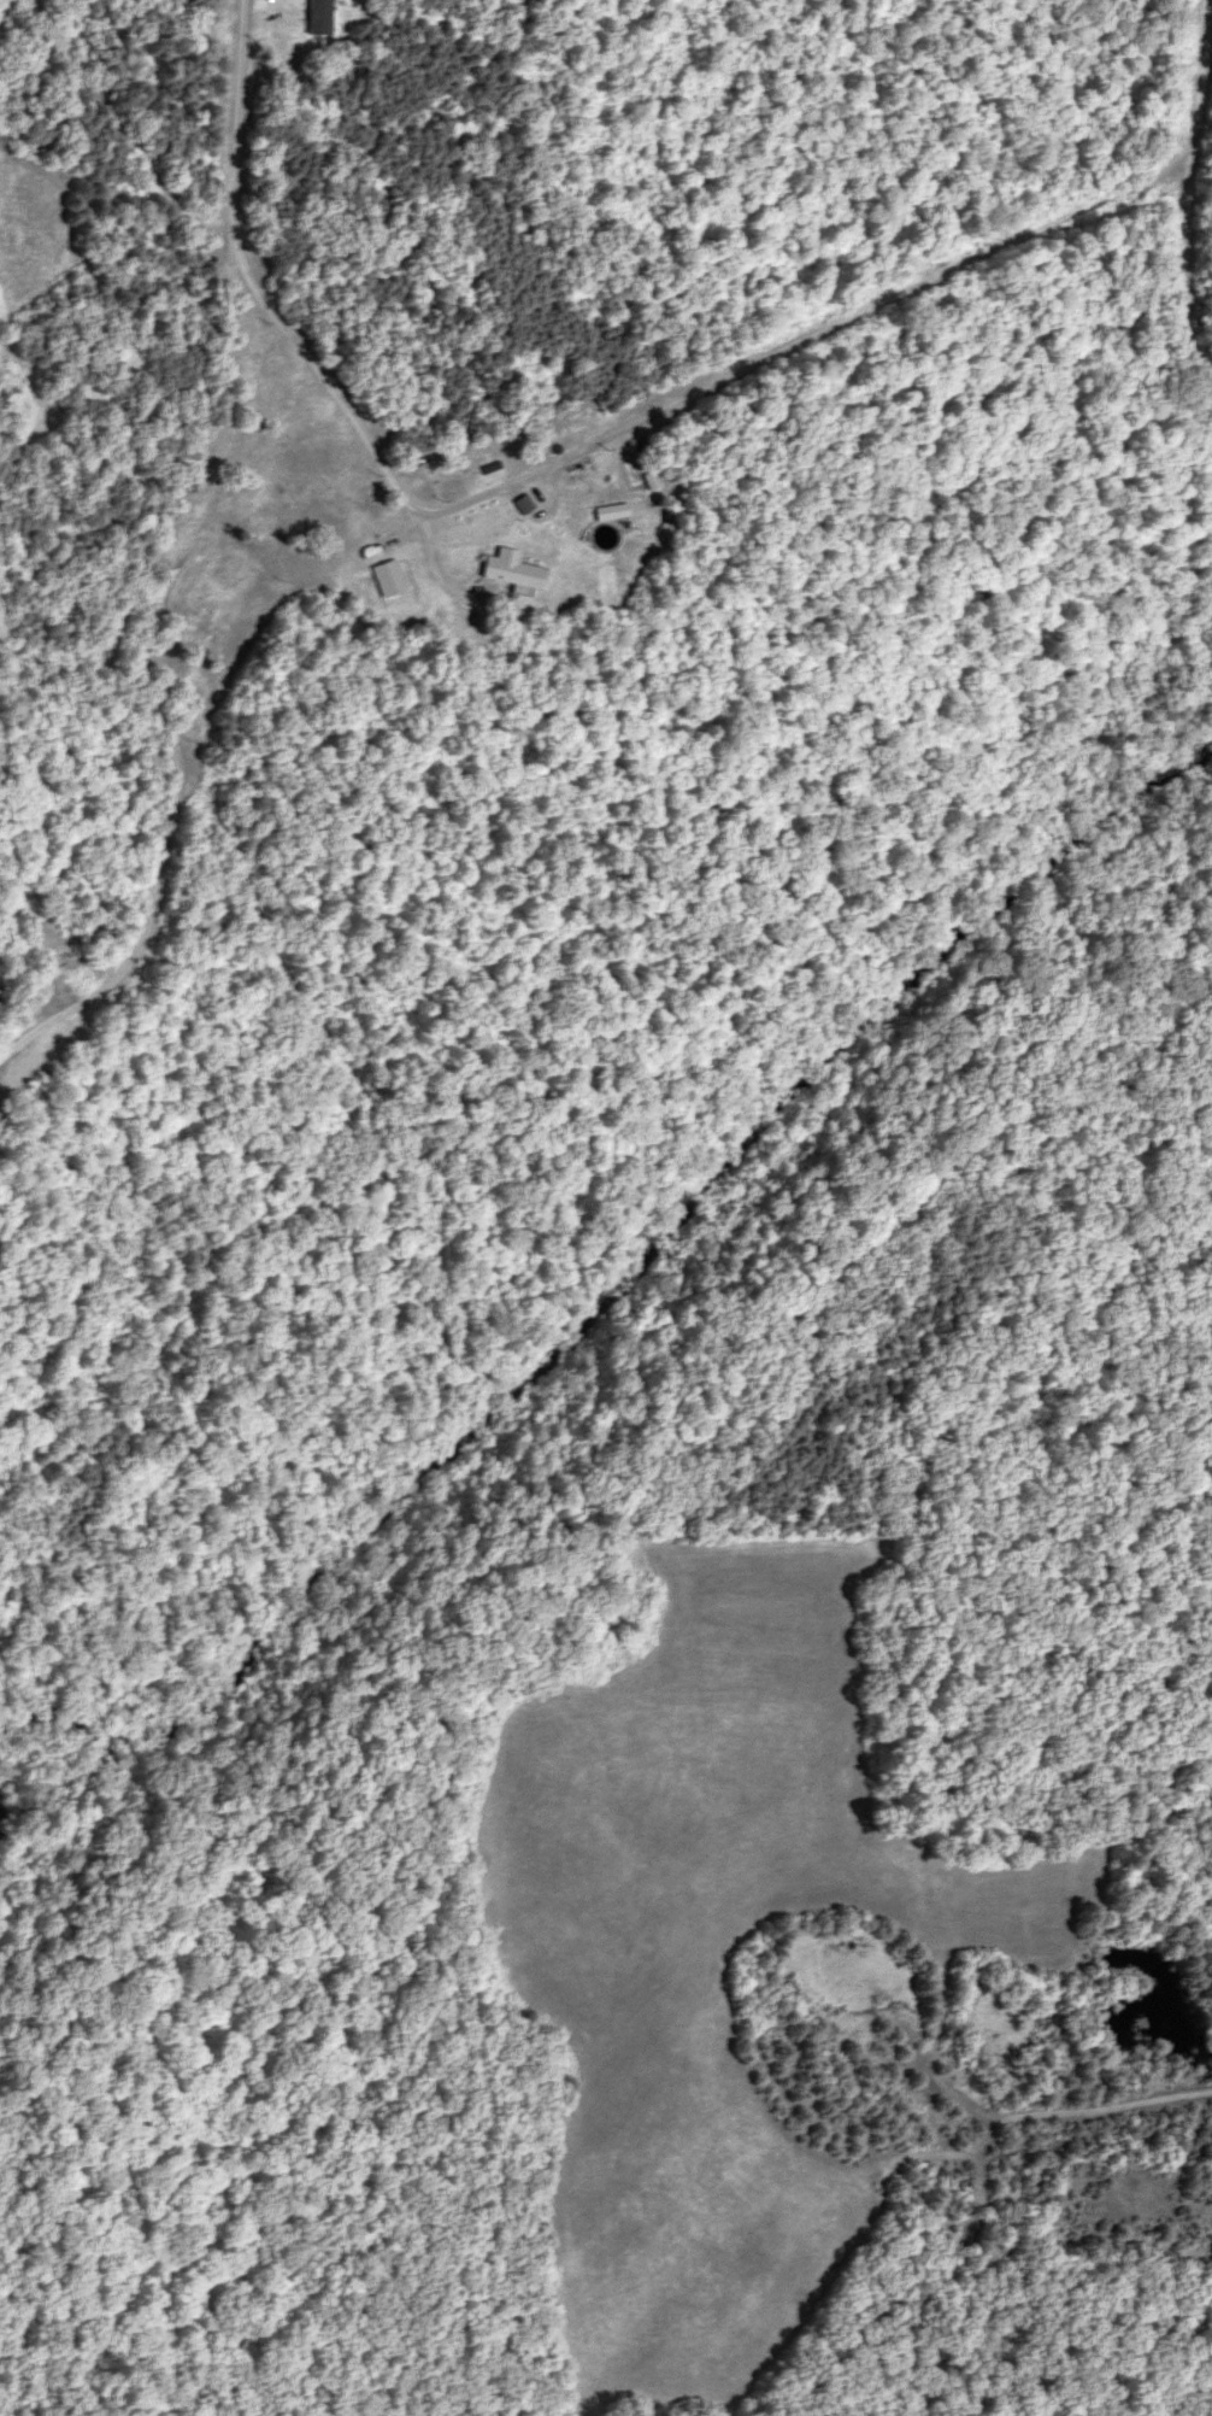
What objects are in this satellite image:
road: (1184, 205)
road: (546, 473)
building: (499, 569)
road: (264, 864)
road: (569, 1133)

